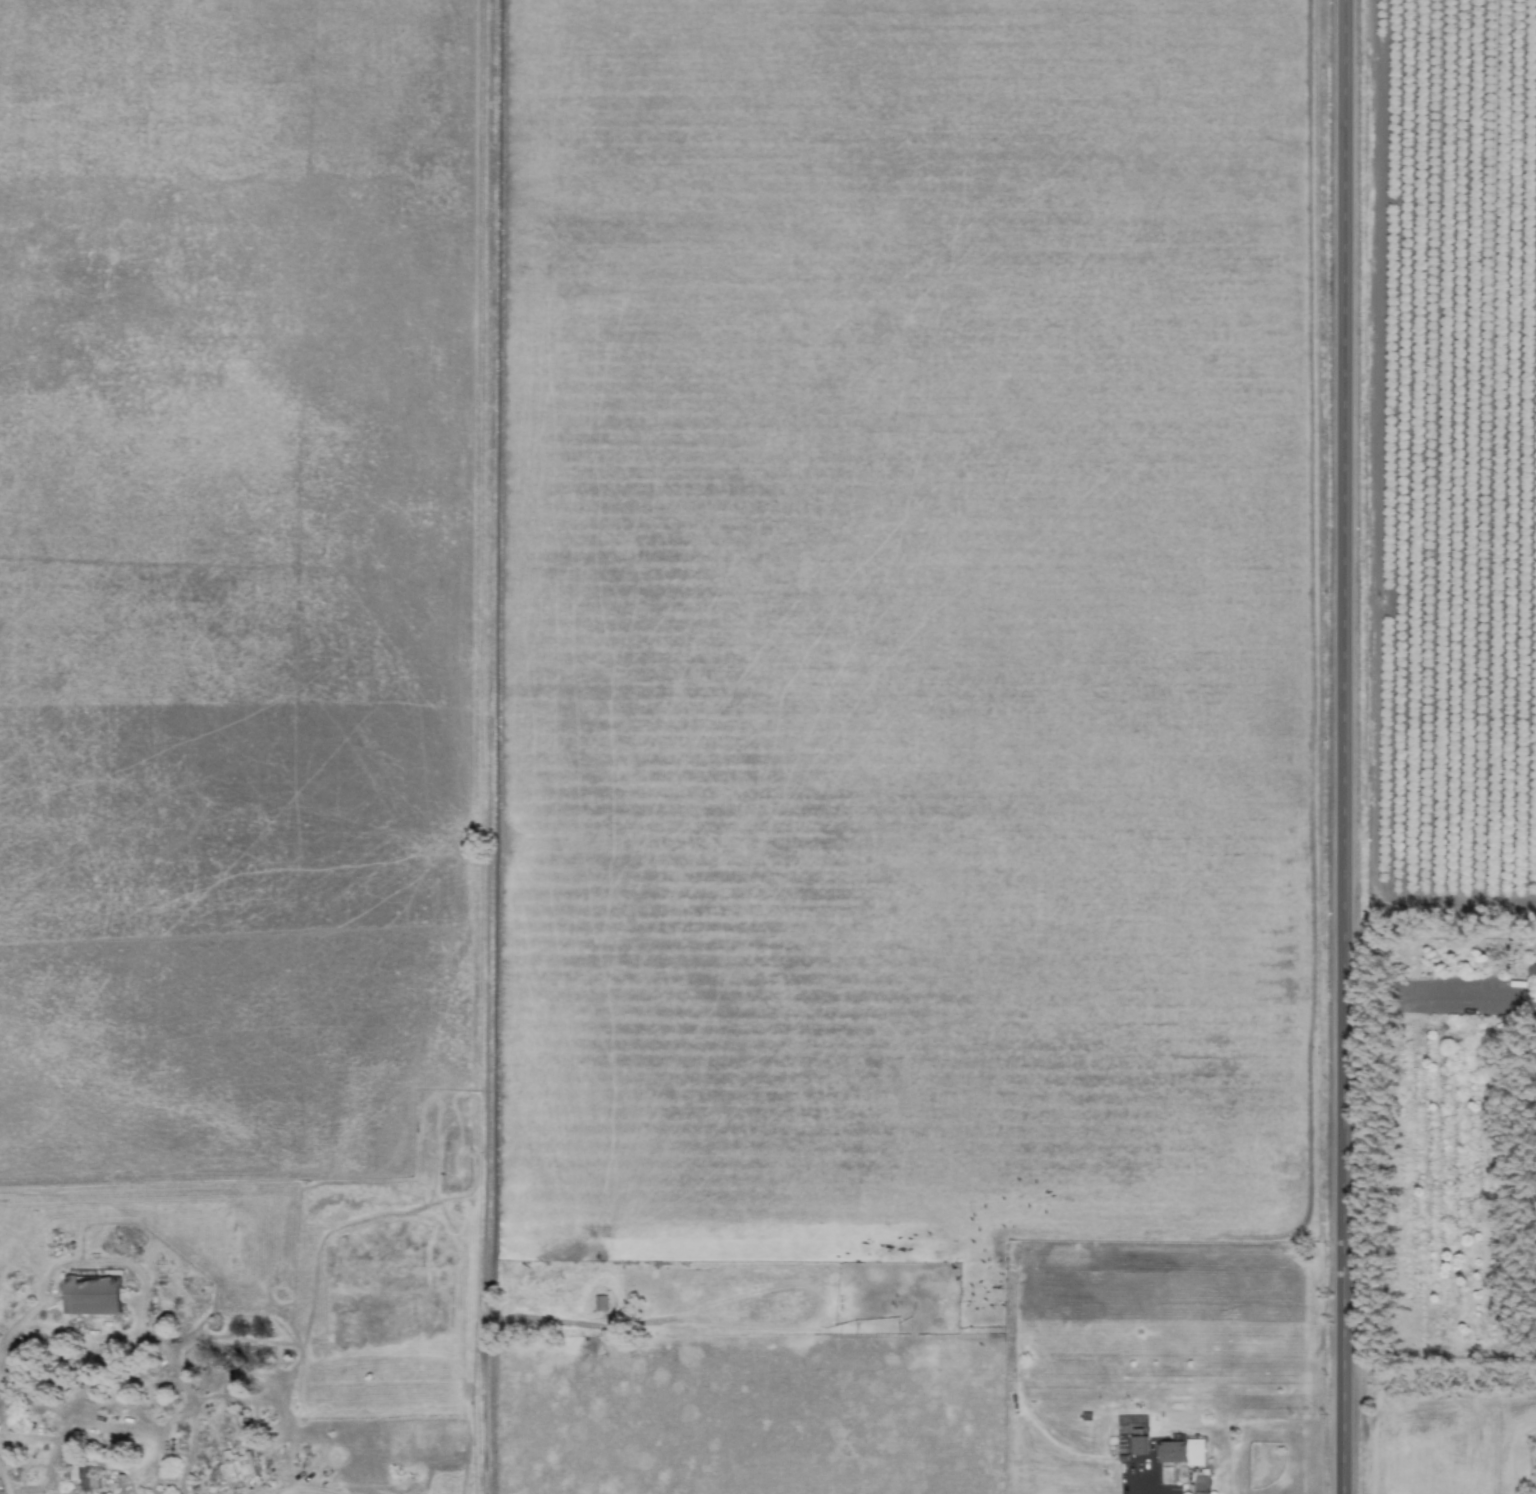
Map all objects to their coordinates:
road: (1339, 746)
building: (1531, 972)
road: (1437, 1002)
building: (92, 1293)
building: (600, 1303)
road: (17, 1325)
road: (511, 1329)
road: (0, 1420)
building: (1136, 1445)
building: (1180, 1452)
building: (238, 1466)
road: (3, 1484)
road: (1156, 1488)
road: (282, 1490)

